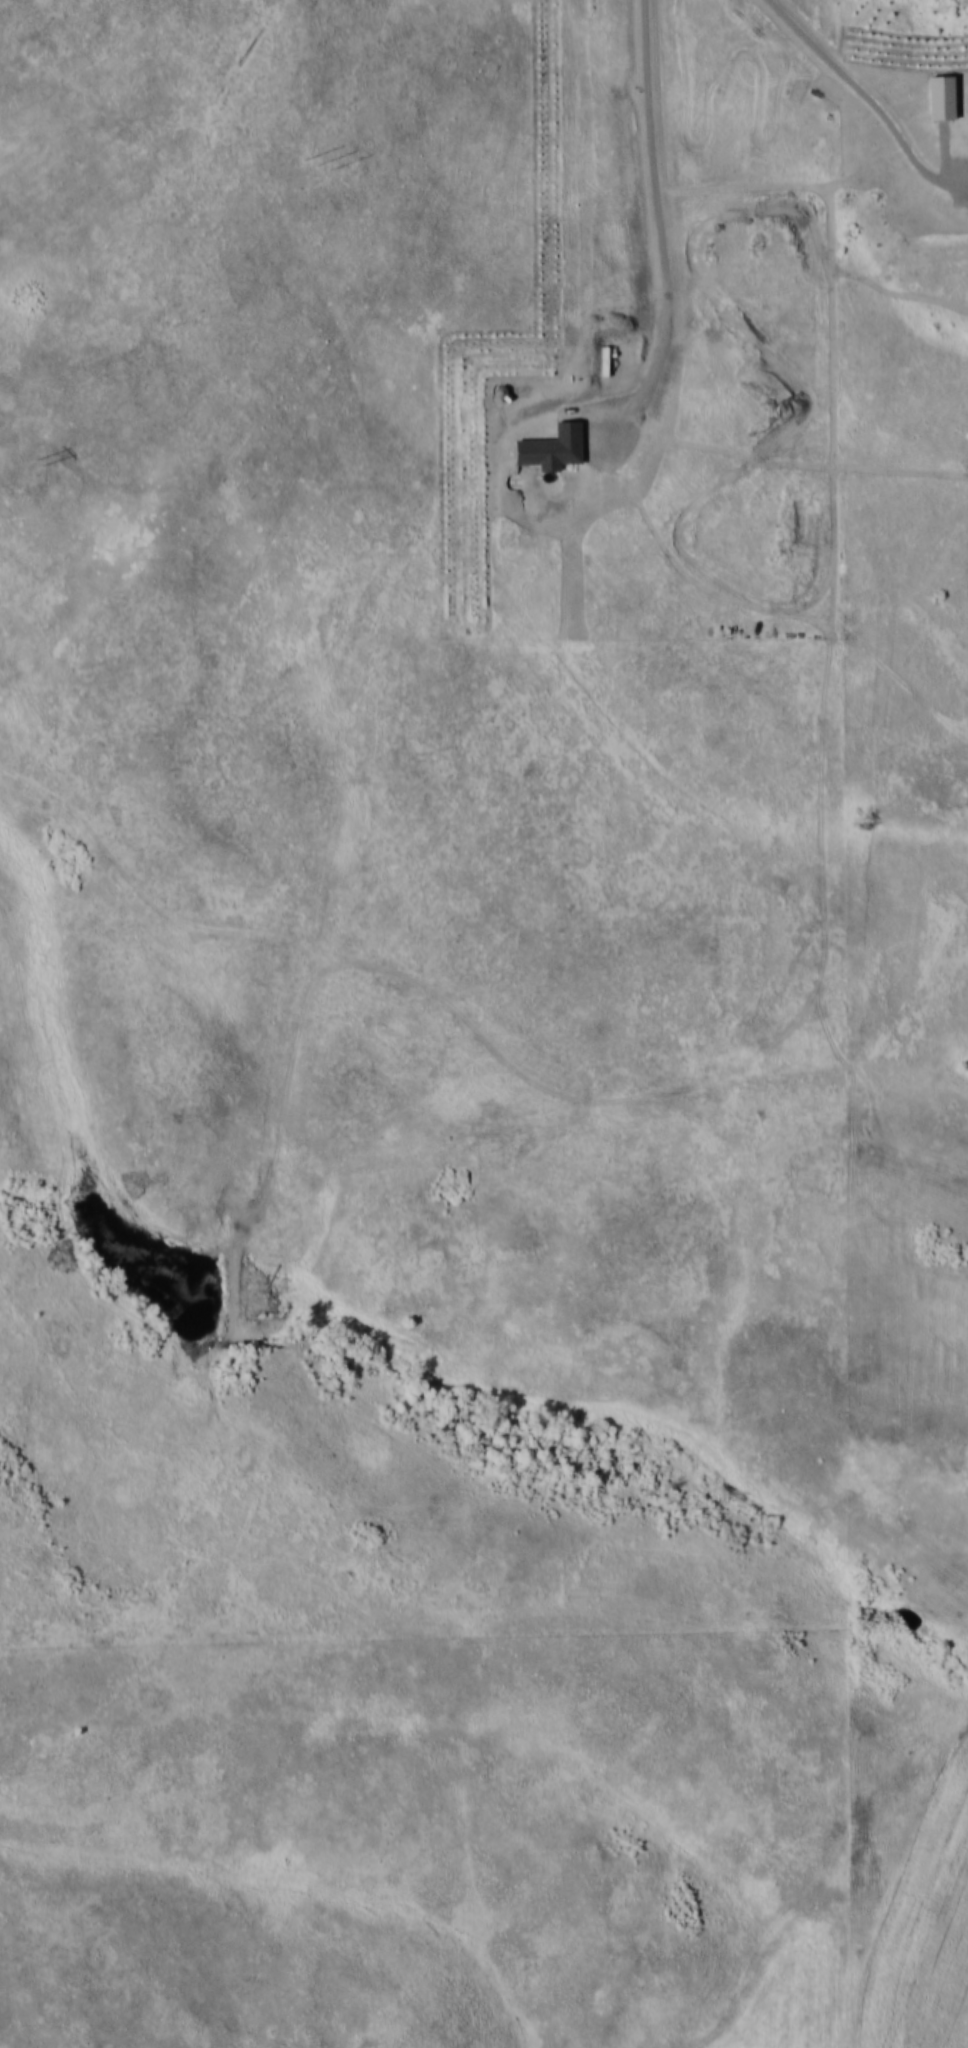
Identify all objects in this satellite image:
power tower: (322, 163)
power tower: (44, 462)
road: (481, 1029)

